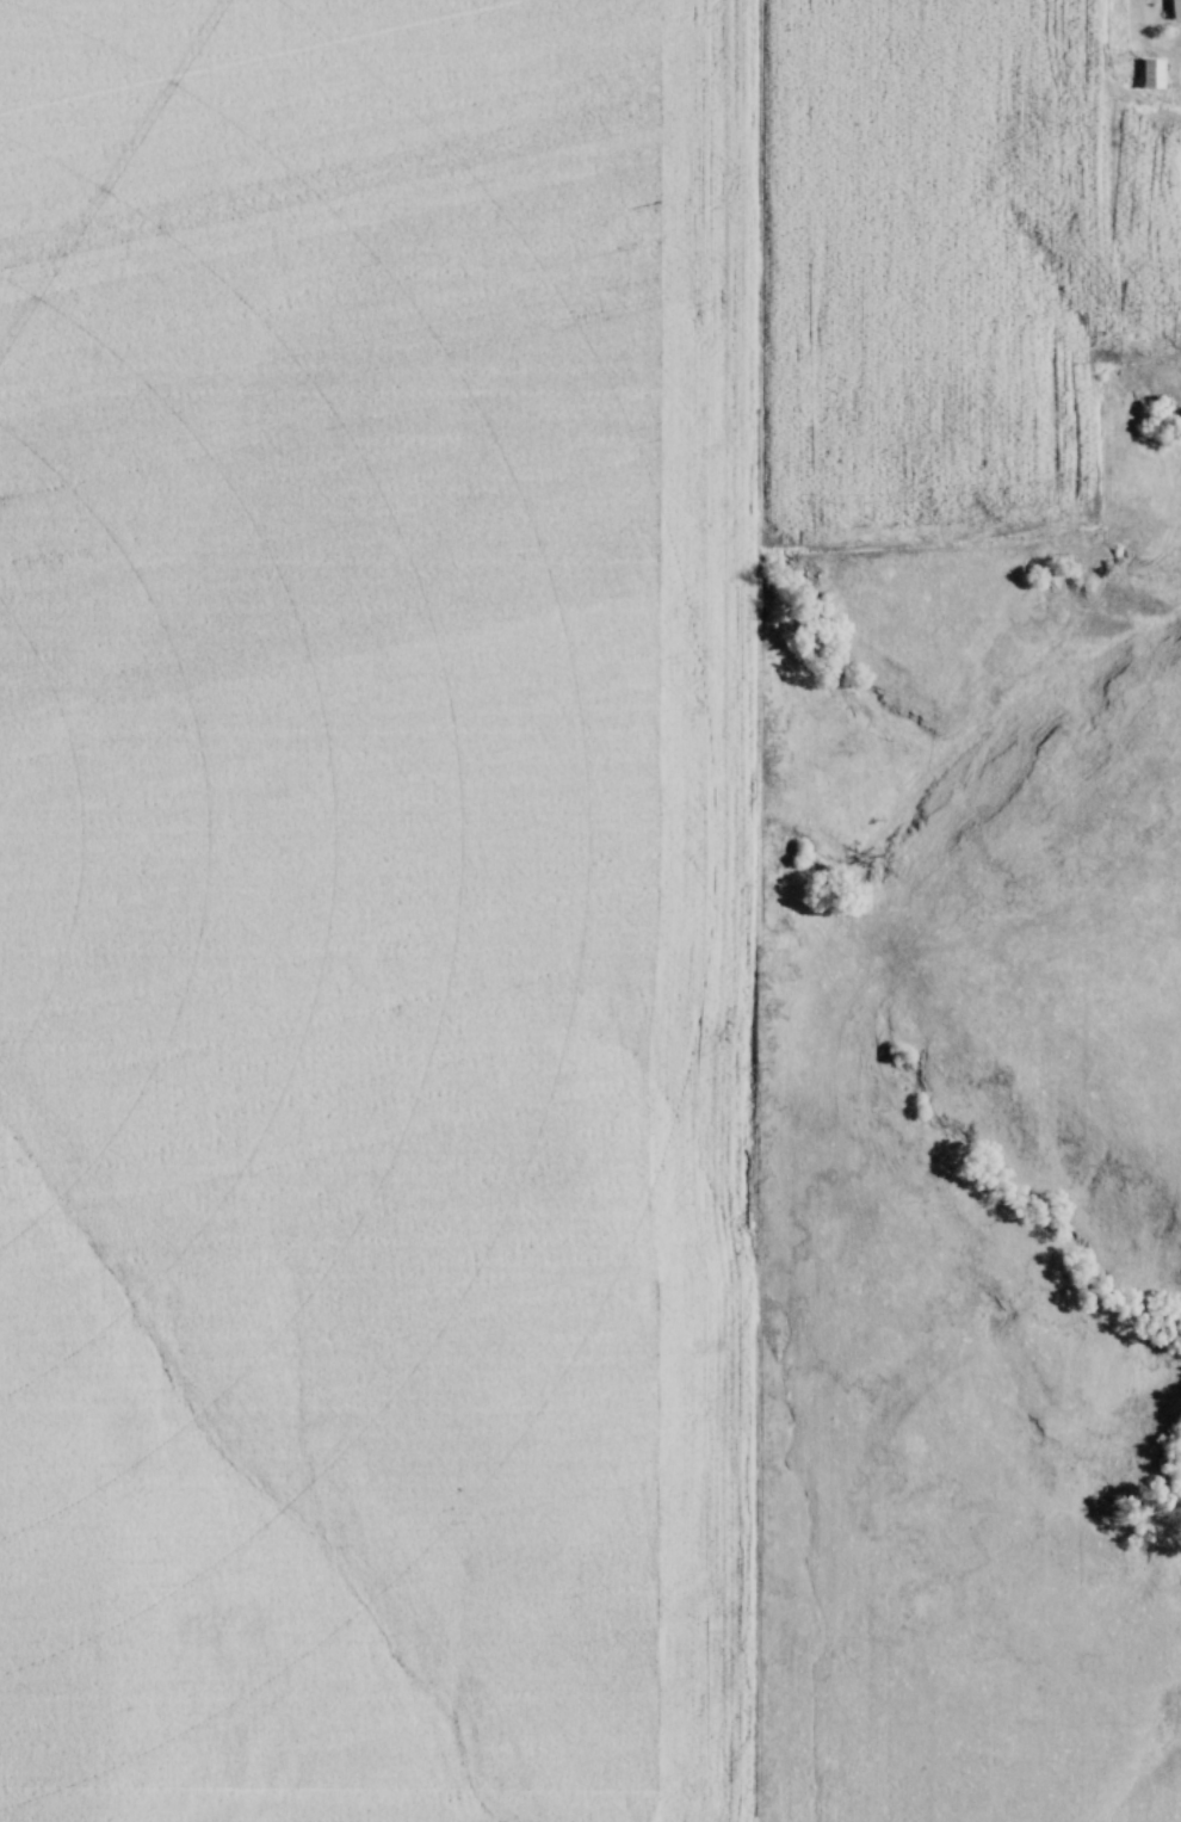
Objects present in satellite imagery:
building: (1175, 10)
building: (1154, 74)

